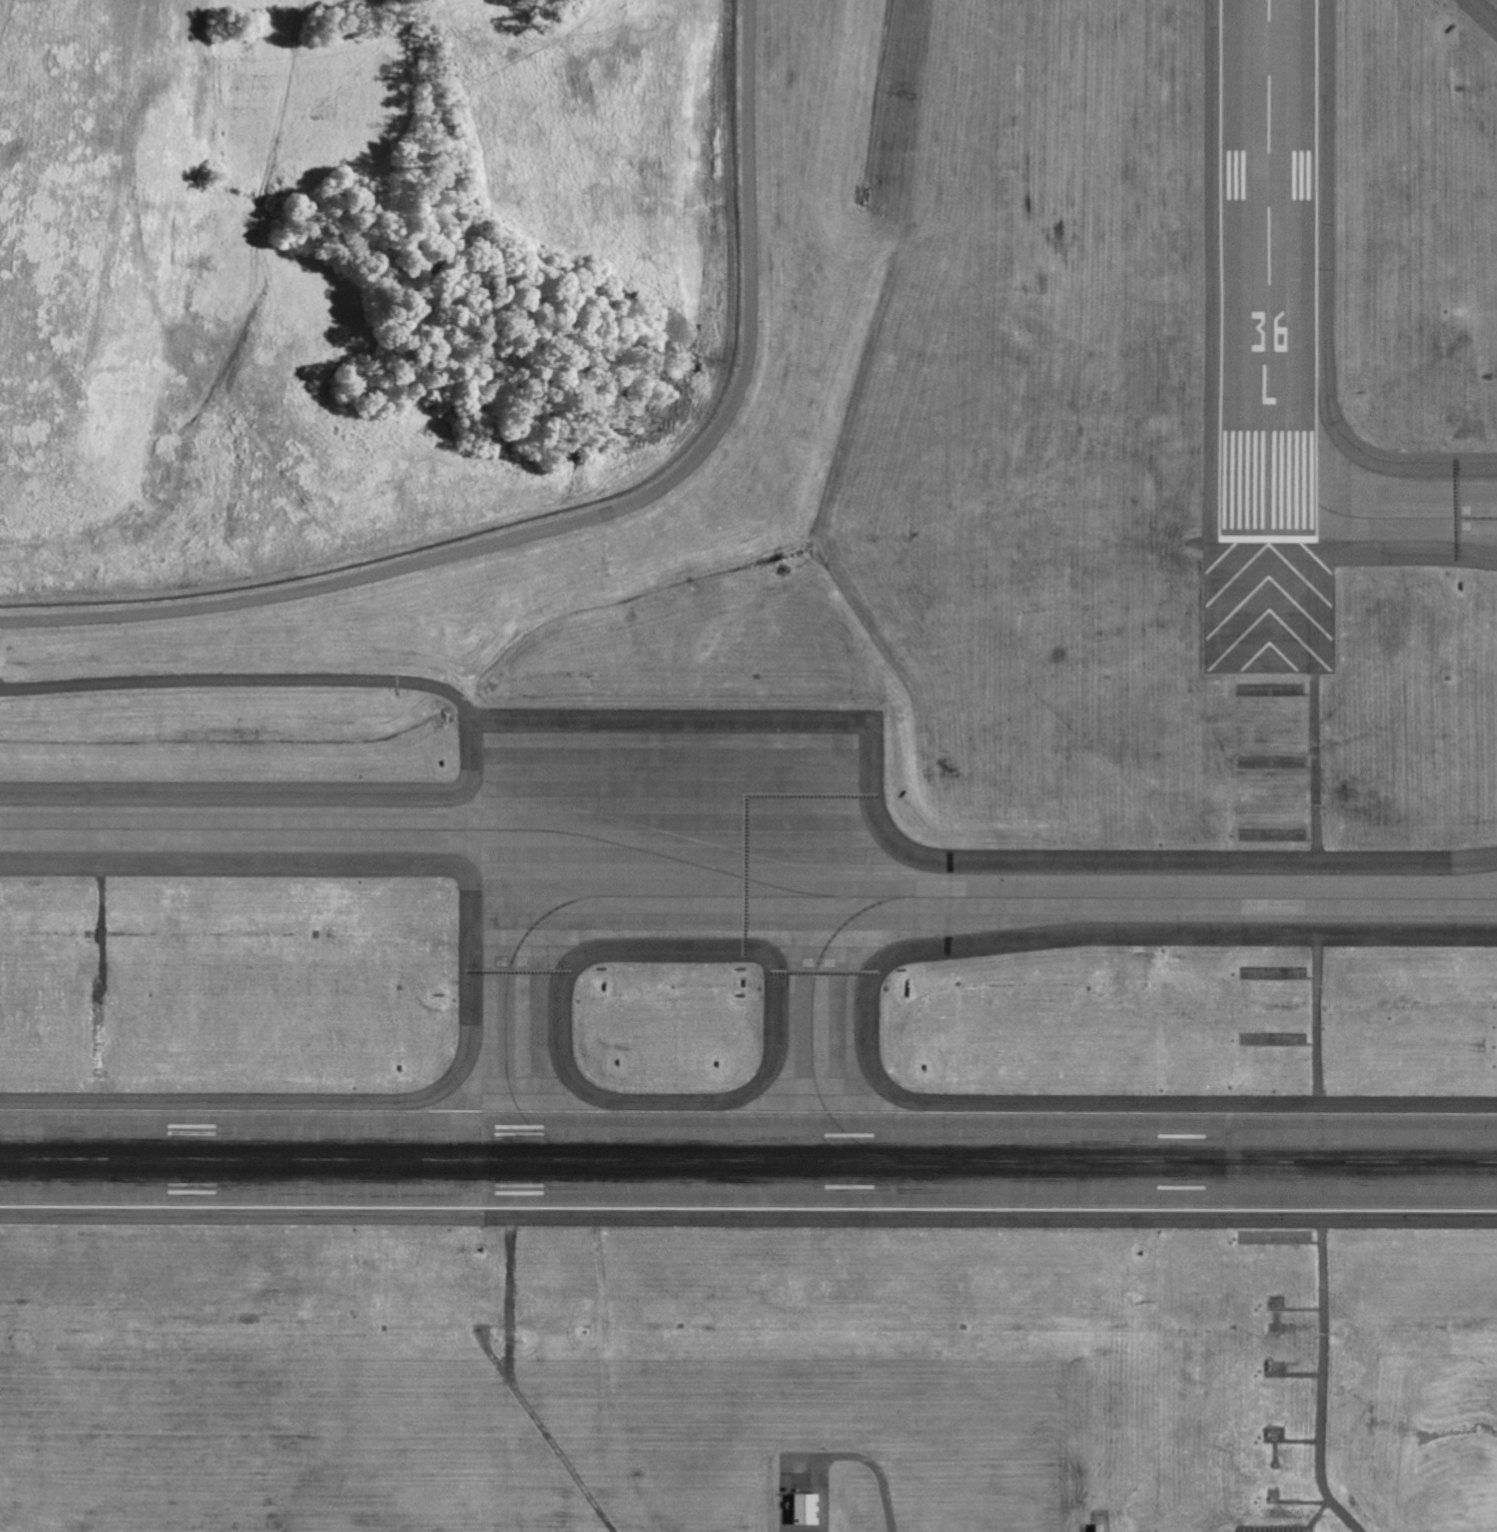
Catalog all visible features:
road: (747, 219)
airport runway: (1279, 320)
airport taxiway: (1388, 510)
road: (373, 571)
road: (276, 682)
airport taxiway: (674, 762)
airport: (833, 869)
airport taxiway: (746, 886)
road: (1314, 892)
airport taxiway: (526, 960)
airport taxiway: (824, 962)
airport runway: (748, 1160)
road: (1316, 1347)
road: (879, 1474)
building: (803, 1508)
road: (1336, 1513)
road: (1083, 1530)

